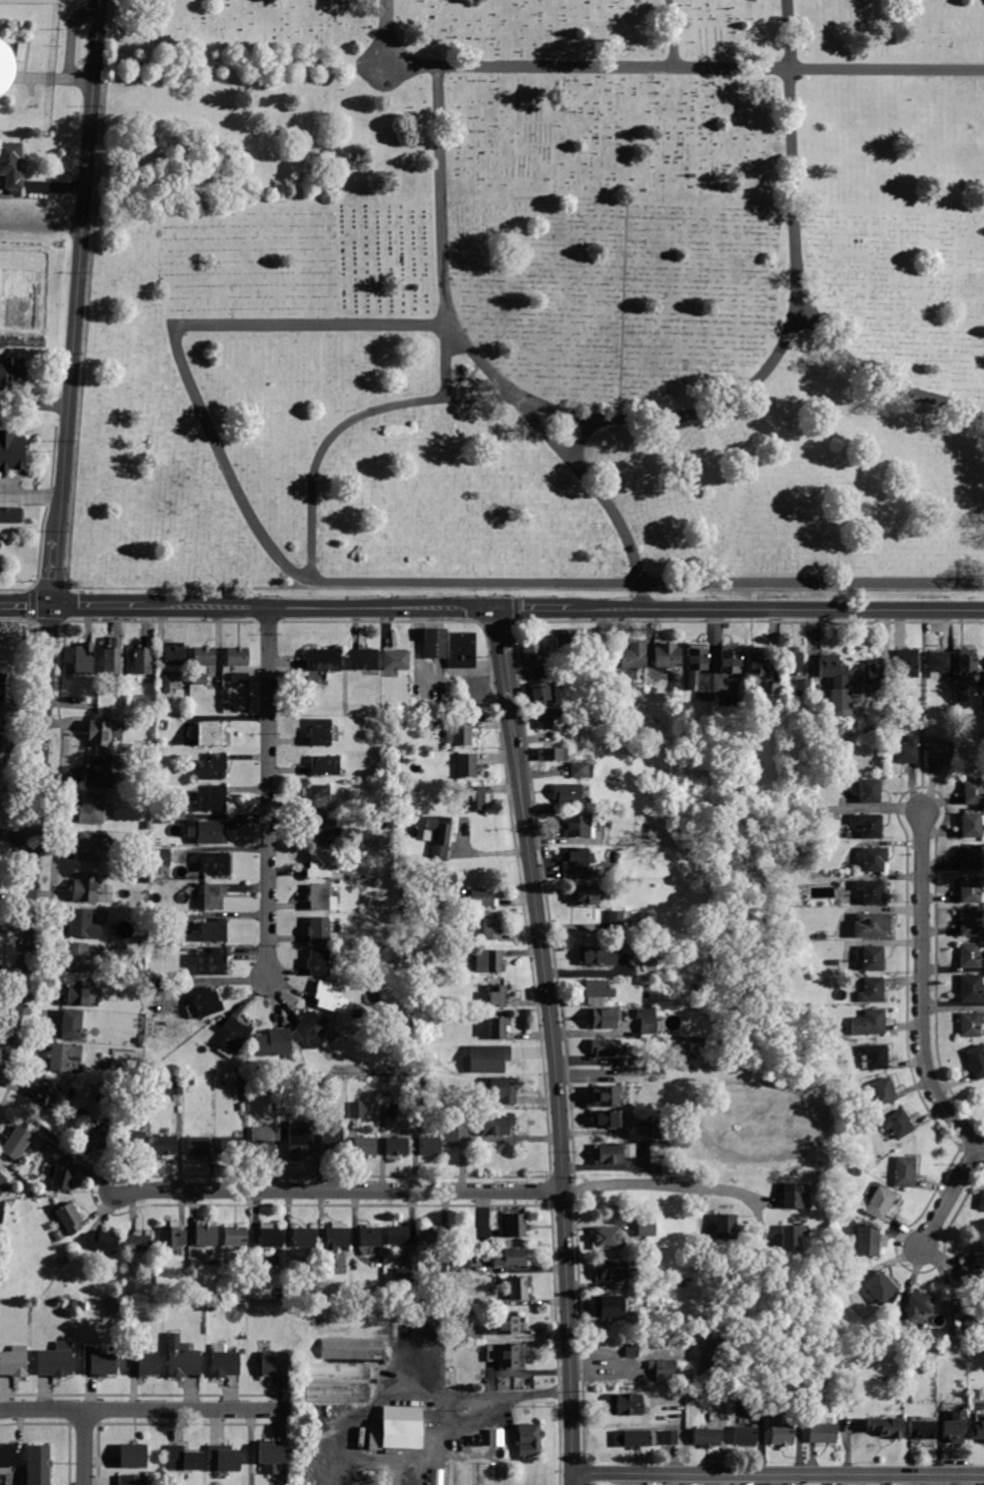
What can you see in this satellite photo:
road: (672, 35)
building: (2, 66)
road: (652, 69)
building: (11, 164)
road: (41, 225)
road: (441, 233)
road: (78, 268)
building: (0, 274)
park: (530, 307)
road: (625, 314)
building: (13, 374)
road: (884, 378)
road: (33, 406)
road: (664, 418)
road: (548, 433)
road: (582, 439)
building: (14, 452)
road: (30, 492)
building: (12, 513)
road: (55, 572)
road: (357, 582)
road: (15, 587)
road: (49, 587)
road: (75, 589)
road: (30, 602)
road: (26, 608)
traffic signals: (53, 608)
road: (97, 608)
traffic signals: (496, 609)
road: (562, 610)
road: (15, 618)
road: (47, 618)
building: (563, 641)
building: (434, 643)
building: (462, 651)
building: (532, 655)
building: (634, 656)
building: (667, 656)
building: (113, 657)
building: (205, 657)
building: (238, 657)
building: (174, 658)
building: (84, 659)
building: (363, 659)
building: (730, 659)
building: (142, 660)
building: (324, 660)
building: (395, 660)
building: (757, 661)
building: (792, 661)
building: (906, 662)
building: (940, 662)
building: (694, 664)
building: (965, 665)
building: (537, 674)
building: (871, 676)
building: (240, 677)
building: (200, 680)
building: (163, 684)
building: (836, 684)
building: (776, 689)
building: (2, 691)
building: (537, 694)
building: (803, 696)
building: (709, 698)
building: (981, 705)
building: (819, 706)
road: (924, 711)
building: (548, 718)
building: (0, 719)
building: (388, 727)
building: (320, 732)
building: (458, 733)
building: (100, 734)
building: (211, 734)
building: (0, 738)
building: (548, 741)
building: (906, 750)
building: (939, 751)
building: (549, 754)
building: (324, 765)
building: (466, 765)
building: (149, 766)
building: (211, 767)
building: (578, 770)
building: (100, 773)
building: (870, 791)
building: (973, 791)
road: (268, 792)
building: (566, 793)
building: (476, 797)
building: (318, 798)
building: (211, 799)
building: (92, 808)
building: (575, 825)
building: (972, 825)
building: (869, 826)
building: (679, 829)
building: (208, 833)
building: (325, 833)
road: (17, 834)
road: (35, 835)
building: (403, 835)
building: (438, 835)
building: (89, 846)
building: (693, 851)
building: (162, 857)
building: (970, 858)
building: (875, 859)
building: (574, 862)
building: (214, 863)
building: (321, 864)
building: (162, 872)
building: (143, 881)
building: (85, 887)
building: (970, 890)
building: (872, 891)
building: (800, 892)
building: (585, 894)
building: (212, 895)
building: (319, 897)
building: (482, 898)
building: (376, 906)
building: (971, 922)
building: (83, 925)
building: (615, 925)
building: (869, 926)
building: (489, 929)
building: (214, 930)
building: (320, 931)
building: (417, 939)
building: (403, 951)
building: (599, 955)
building: (969, 955)
building: (80, 957)
building: (873, 958)
building: (488, 960)
building: (709, 961)
building: (212, 962)
building: (318, 962)
building: (834, 963)
building: (781, 976)
building: (971, 988)
road: (922, 989)
building: (871, 990)
building: (597, 991)
building: (78, 993)
building: (497, 996)
building: (330, 997)
building: (206, 1002)
building: (707, 1013)
building: (602, 1019)
building: (646, 1021)
building: (868, 1023)
building: (72, 1024)
building: (971, 1024)
building: (310, 1028)
building: (497, 1029)
building: (232, 1037)
building: (274, 1043)
road: (554, 1045)
building: (605, 1048)
building: (64, 1056)
building: (873, 1057)
building: (488, 1059)
building: (976, 1061)
building: (707, 1063)
building: (237, 1070)
building: (189, 1080)
building: (323, 1084)
building: (272, 1085)
building: (145, 1086)
building: (177, 1086)
building: (241, 1086)
building: (291, 1086)
building: (502, 1089)
building: (883, 1091)
building: (46, 1093)
building: (384, 1093)
building: (606, 1096)
building: (358, 1109)
building: (388, 1111)
building: (432, 1117)
building: (605, 1119)
building: (896, 1124)
building: (496, 1125)
building: (662, 1129)
building: (450, 1130)
building: (96, 1139)
building: (298, 1139)
building: (264, 1140)
building: (332, 1140)
building: (133, 1141)
building: (17, 1144)
road: (57, 1144)
building: (232, 1144)
building: (201, 1145)
building: (364, 1146)
building: (397, 1146)
building: (165, 1147)
building: (429, 1147)
building: (612, 1152)
building: (667, 1171)
building: (856, 1172)
building: (903, 1172)
building: (61, 1175)
building: (2, 1180)
road: (661, 1183)
road: (338, 1191)
building: (805, 1194)
road: (951, 1195)
building: (791, 1196)
building: (981, 1201)
building: (879, 1203)
building: (69, 1217)
building: (517, 1225)
building: (726, 1227)
building: (646, 1228)
building: (58, 1236)
building: (206, 1236)
building: (234, 1236)
building: (270, 1236)
building: (398, 1236)
building: (430, 1236)
building: (172, 1237)
building: (369, 1237)
building: (304, 1238)
building: (335, 1238)
building: (606, 1238)
building: (790, 1238)
building: (866, 1241)
building: (103, 1242)
building: (139, 1243)
building: (511, 1258)
building: (461, 1263)
building: (973, 1267)
building: (611, 1270)
building: (404, 1275)
building: (879, 1287)
building: (518, 1289)
building: (71, 1304)
building: (918, 1304)
building: (613, 1306)
building: (652, 1314)
building: (973, 1325)
building: (504, 1326)
building: (459, 1331)
building: (352, 1349)
building: (631, 1352)
building: (504, 1355)
building: (181, 1359)
building: (711, 1360)
building: (55, 1361)
building: (223, 1361)
building: (14, 1362)
building: (99, 1363)
building: (143, 1364)
building: (275, 1364)
building: (663, 1370)
building: (337, 1371)
road: (427, 1388)
building: (337, 1393)
road: (471, 1393)
building: (698, 1399)
building: (625, 1404)
building: (979, 1405)
road: (147, 1409)
building: (954, 1426)
building: (886, 1427)
building: (977, 1427)
building: (922, 1430)
building: (822, 1434)
building: (781, 1435)
building: (745, 1436)
building: (706, 1437)
building: (496, 1438)
building: (632, 1438)
building: (670, 1438)
building: (528, 1440)
road: (84, 1447)
road: (248, 1447)
building: (398, 1450)
building: (133, 1456)
building: (272, 1457)
building: (7, 1459)
building: (184, 1459)
building: (223, 1460)
building: (38, 1464)
building: (438, 1467)
road: (777, 1475)
building: (132, 1480)

